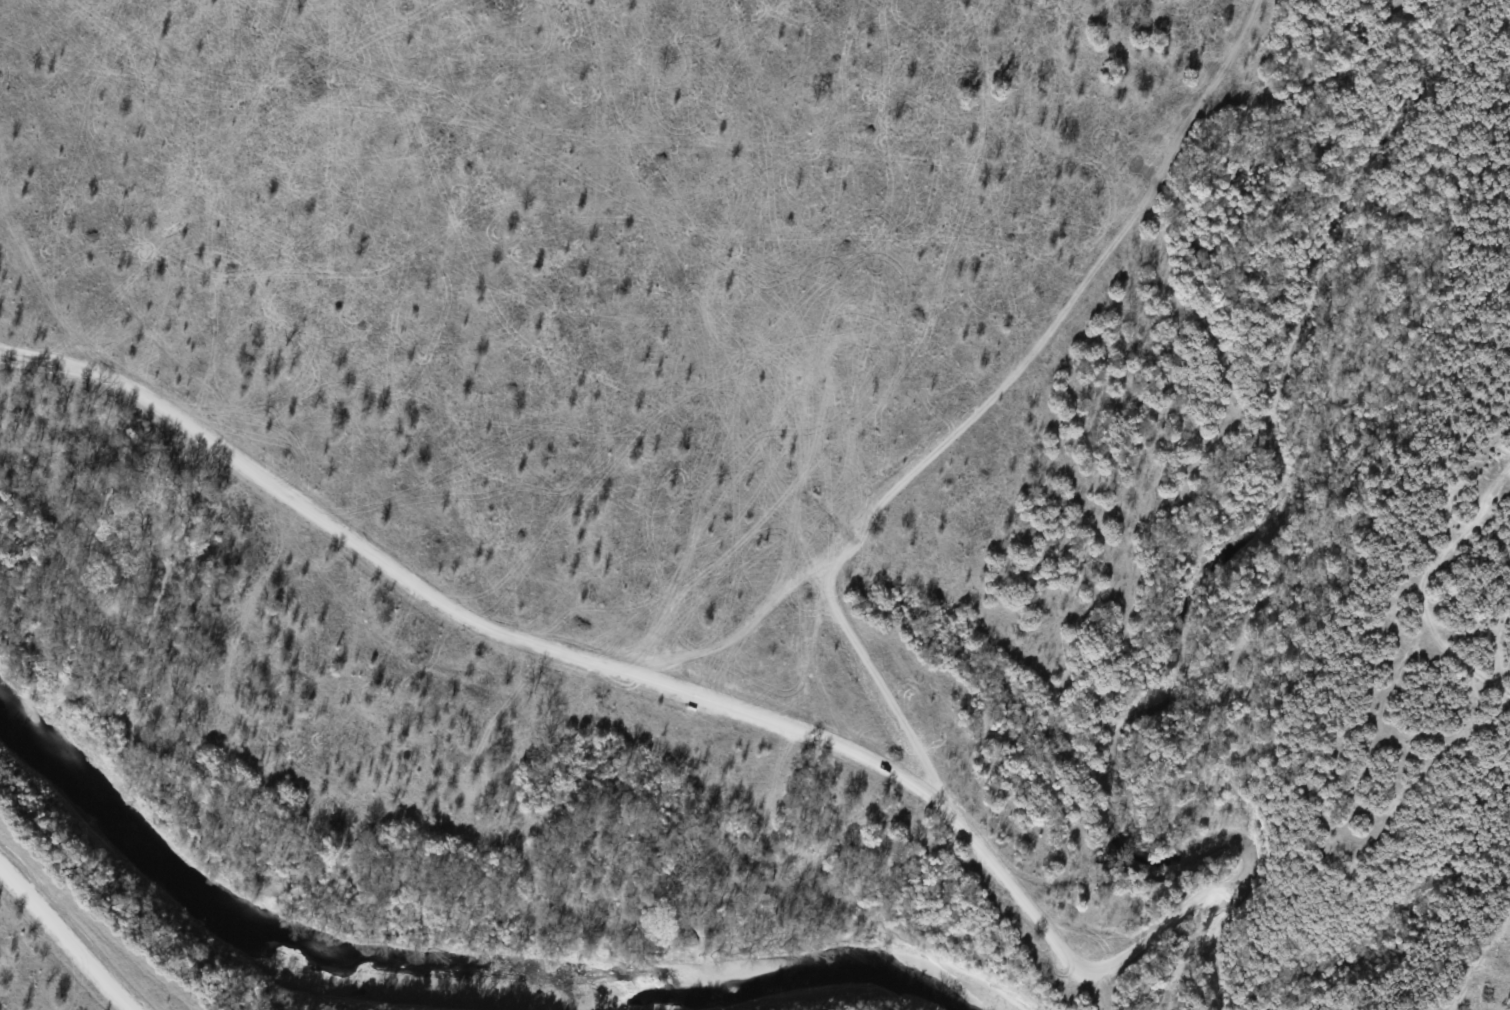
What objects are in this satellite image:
road: (855, 529)
road: (466, 615)
road: (884, 681)
road: (68, 932)
road: (1111, 962)
river: (453, 988)

